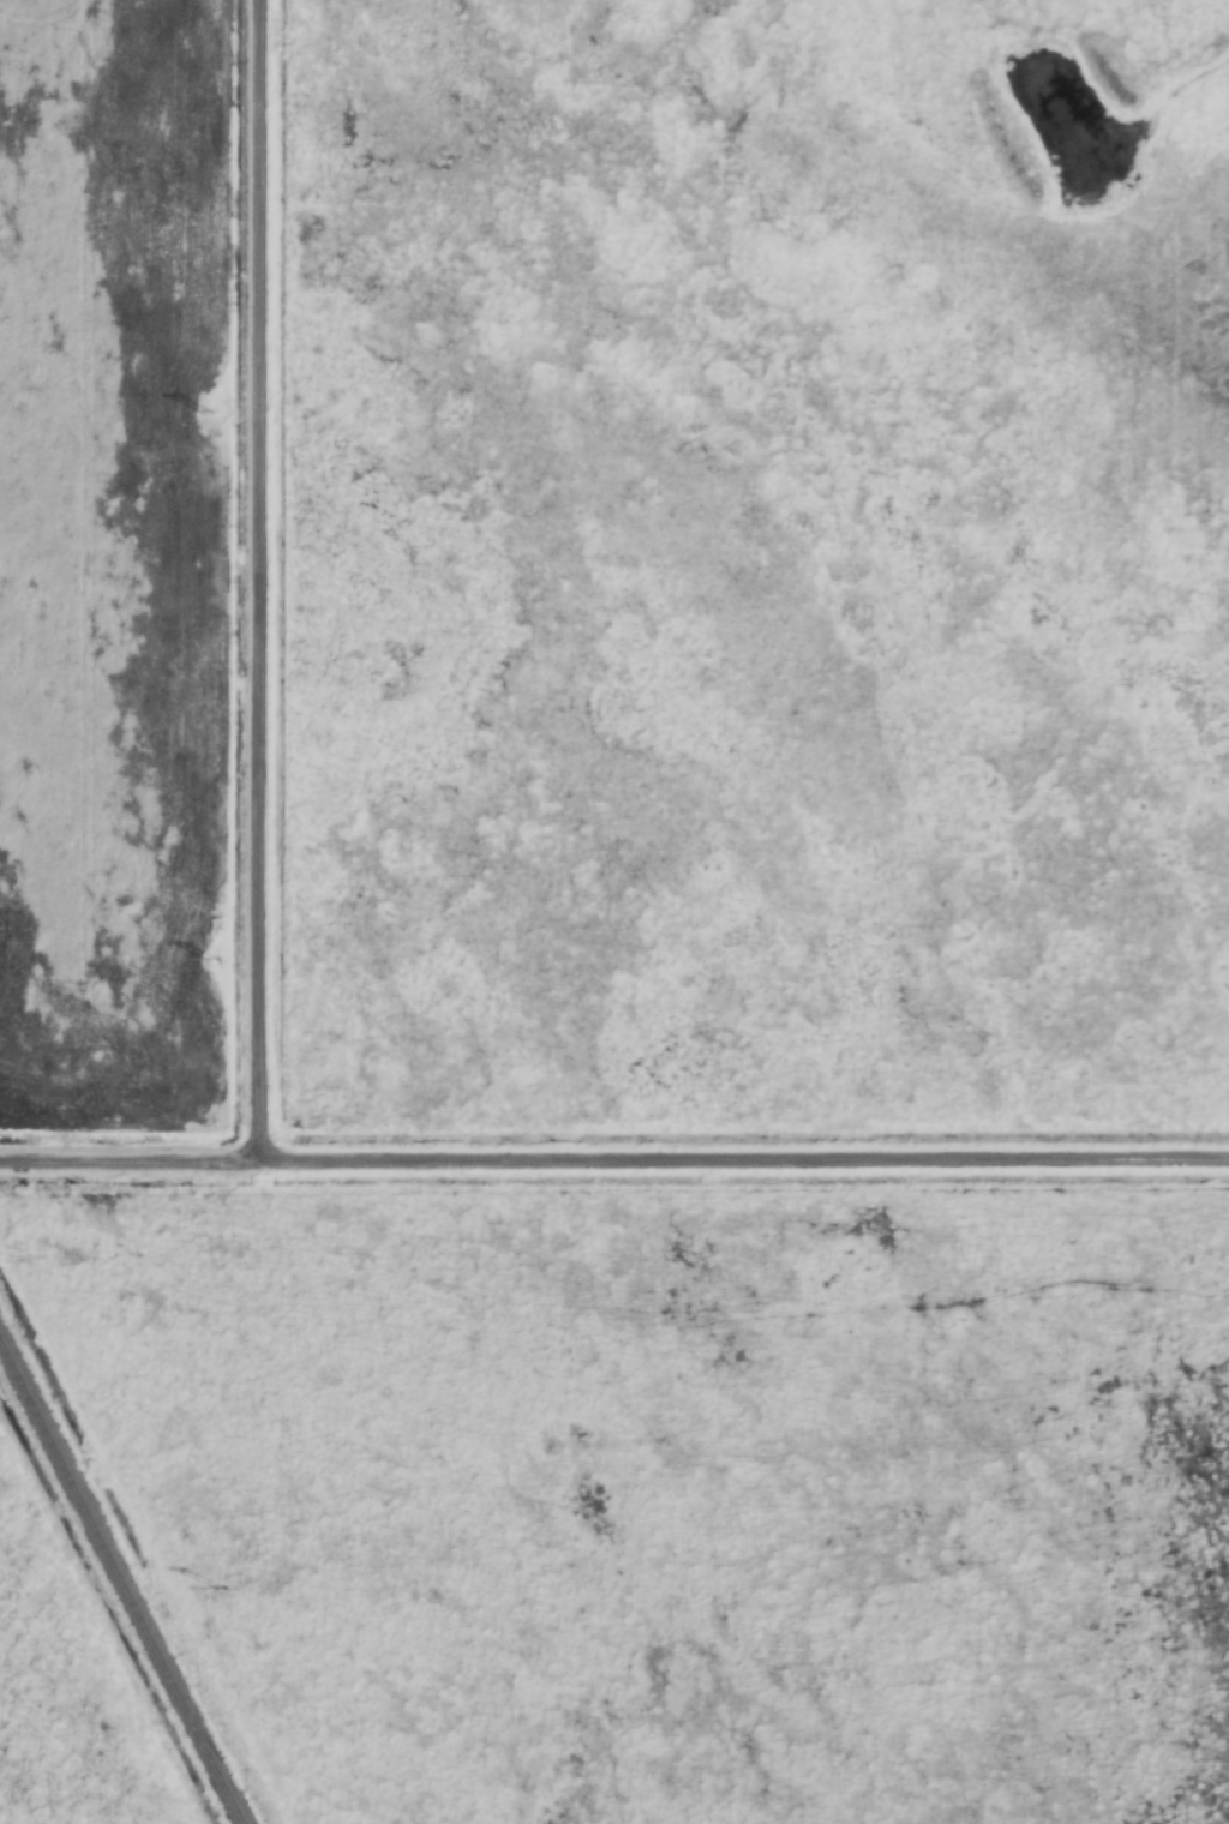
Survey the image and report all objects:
power tower: (208, 412)
road: (253, 578)
power tower: (212, 958)
road: (126, 1158)
road: (741, 1158)
railway: (120, 1583)
power tower: (220, 1585)

